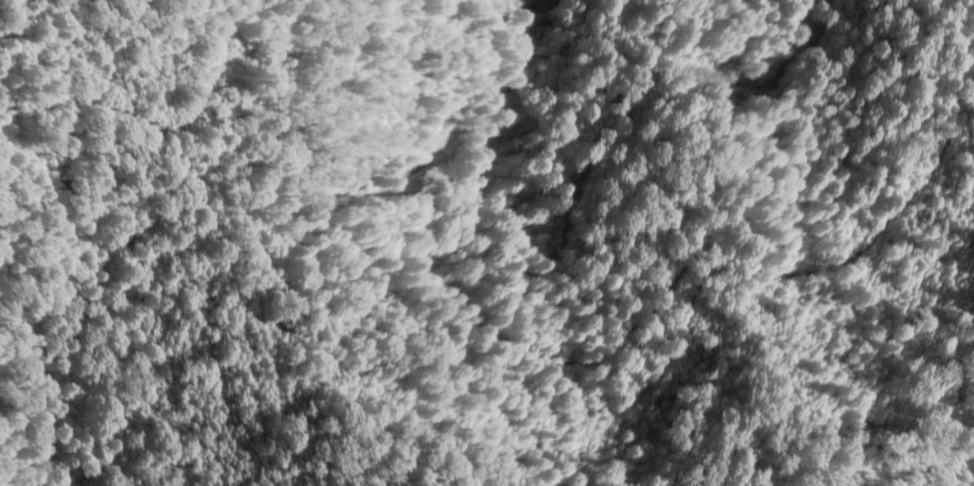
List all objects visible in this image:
building: (546, 3)

